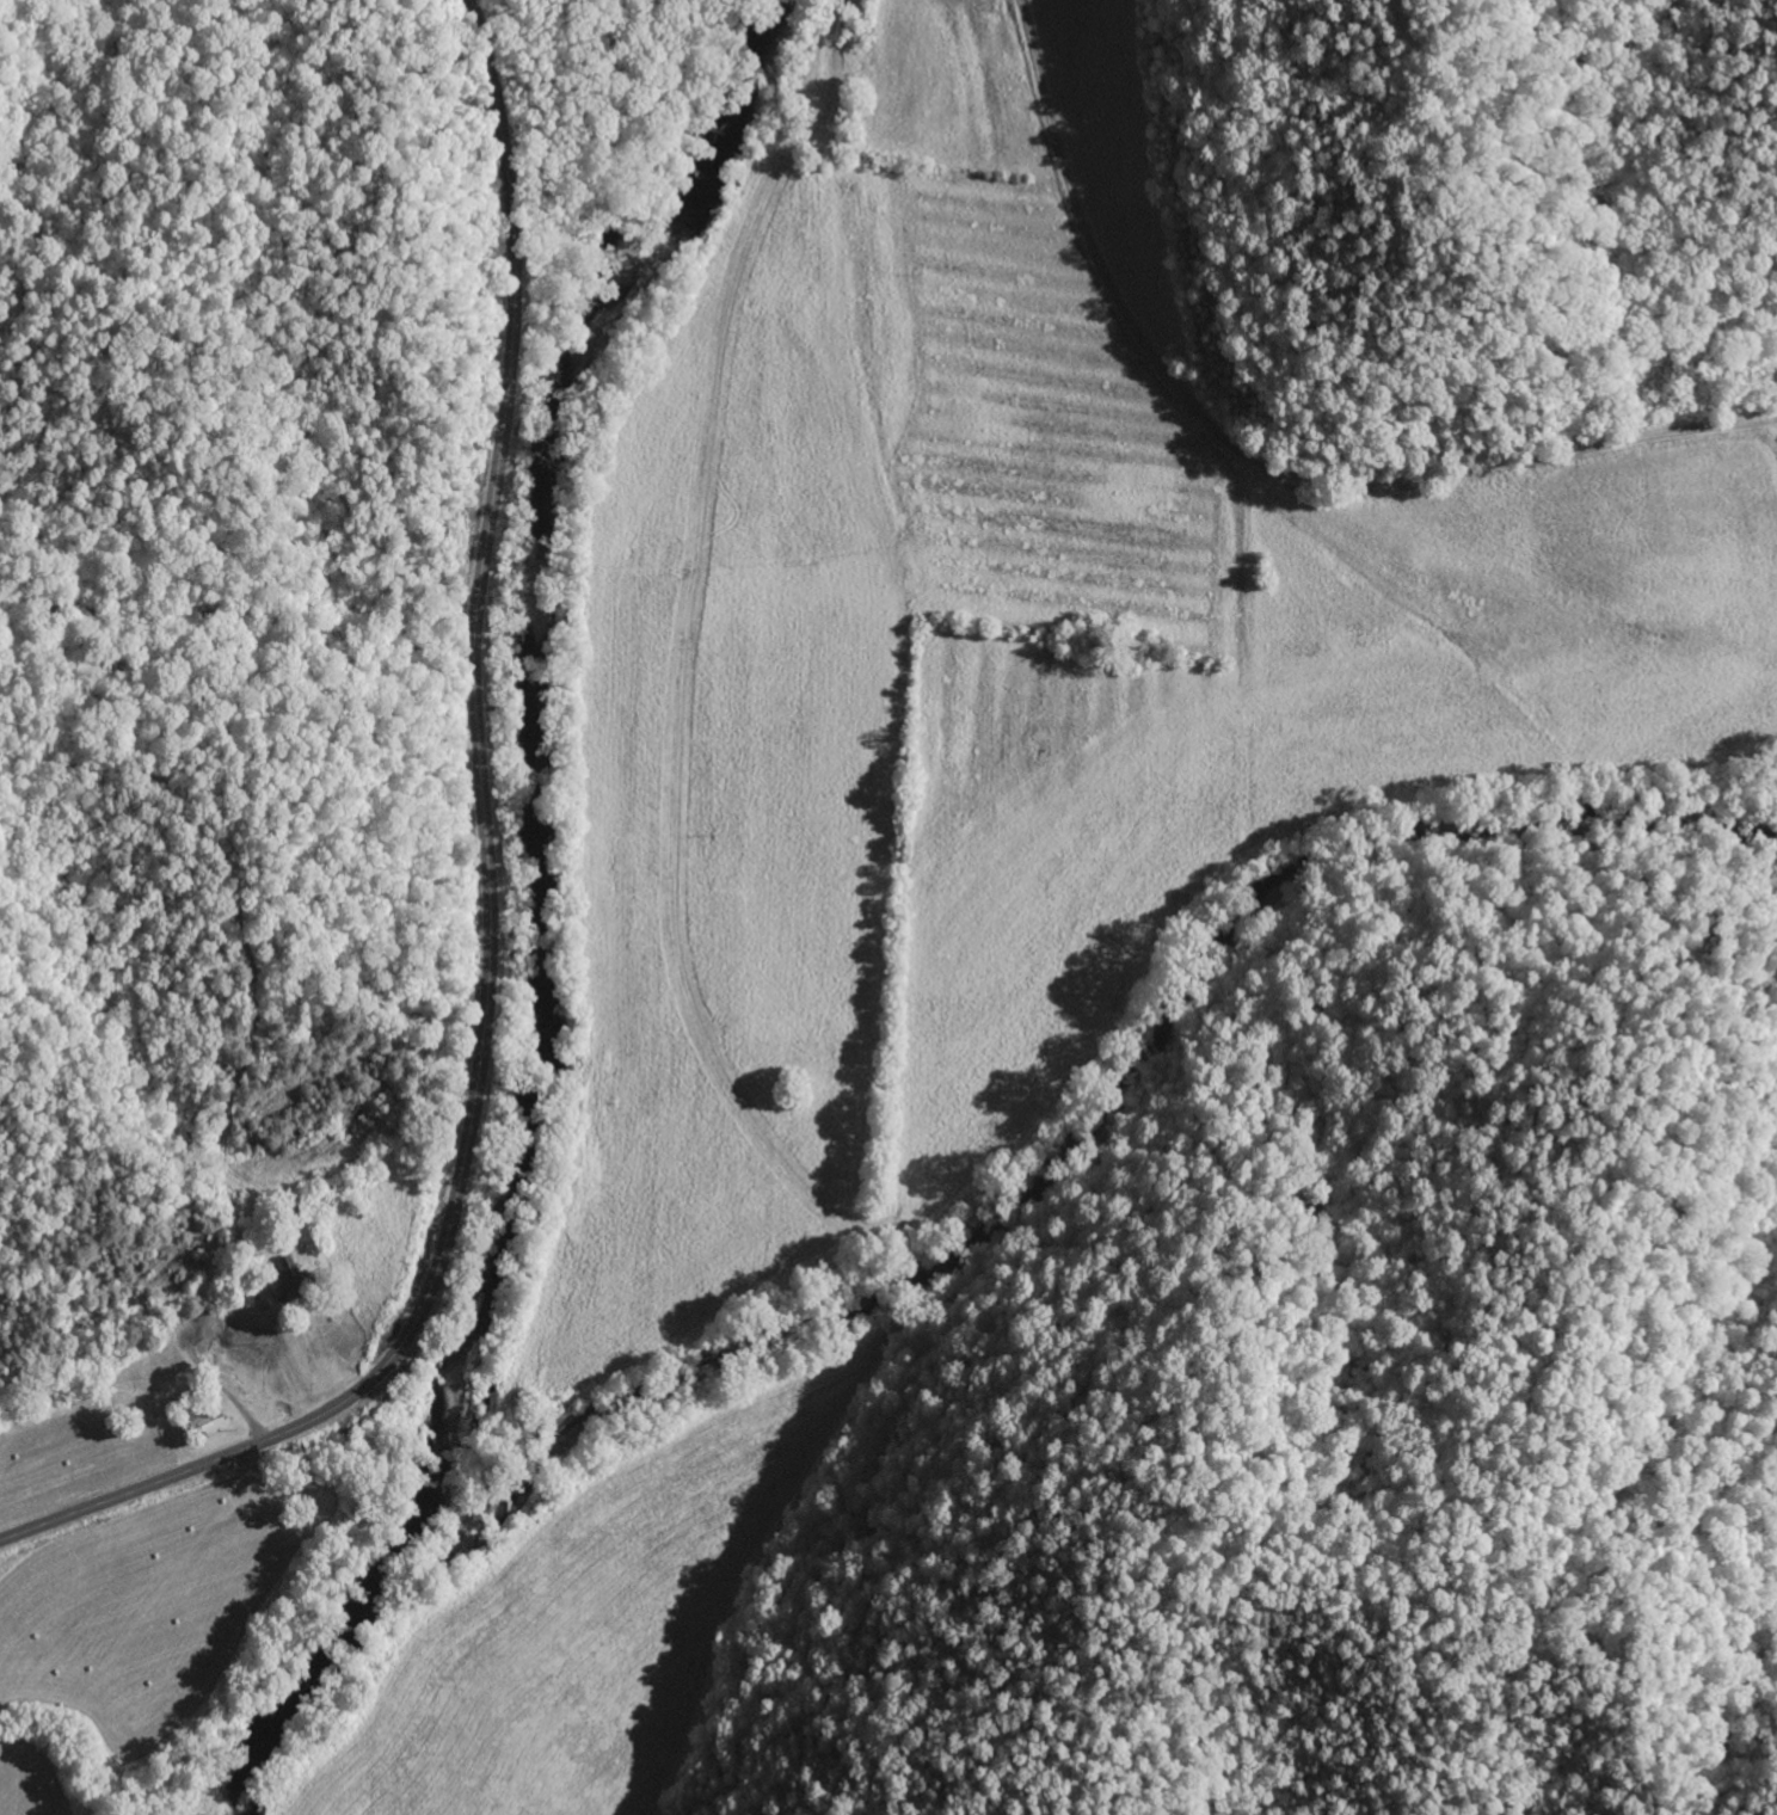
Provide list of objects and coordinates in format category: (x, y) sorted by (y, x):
road: (499, 395)
road: (1258, 462)
road: (1513, 776)
road: (430, 1294)
building: (277, 1296)
building: (213, 1428)

